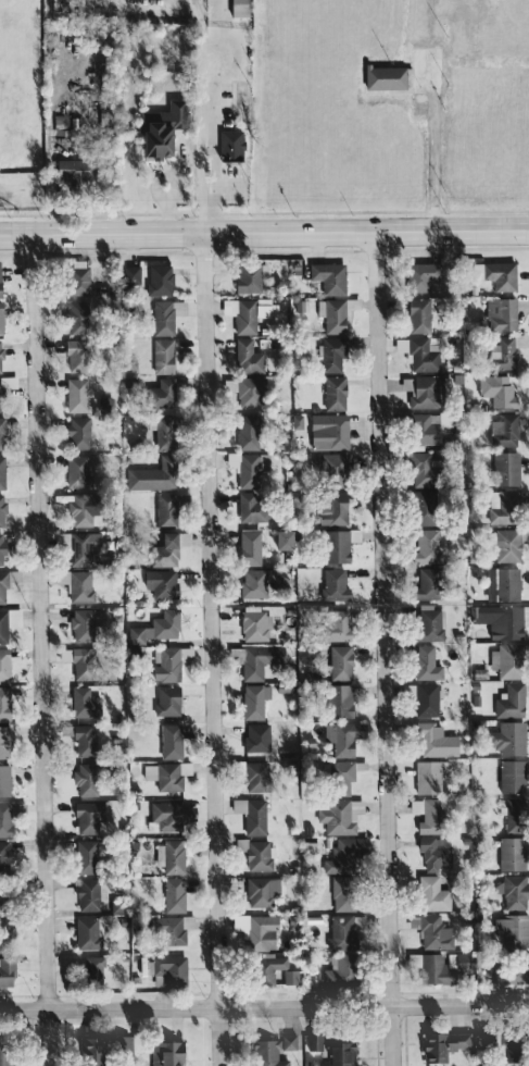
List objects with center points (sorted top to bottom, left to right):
building: (234, 8)
road: (202, 40)
building: (381, 76)
road: (211, 116)
building: (155, 128)
building: (228, 142)
road: (440, 151)
building: (68, 166)
road: (264, 234)
building: (127, 274)
building: (493, 274)
building: (327, 276)
building: (418, 276)
building: (248, 277)
building: (156, 280)
building: (75, 281)
building: (73, 311)
building: (251, 313)
building: (333, 313)
building: (497, 313)
building: (416, 314)
building: (164, 315)
building: (0, 330)
building: (517, 339)
building: (0, 352)
building: (500, 352)
building: (330, 354)
building: (420, 354)
building: (74, 355)
building: (160, 356)
building: (247, 357)
building: (7, 383)
building: (249, 389)
building: (494, 389)
building: (421, 392)
building: (159, 393)
building: (332, 393)
building: (74, 394)
building: (423, 427)
building: (327, 429)
building: (502, 430)
building: (76, 432)
building: (160, 432)
building: (247, 432)
building: (0, 433)
building: (503, 468)
building: (251, 469)
building: (329, 469)
building: (418, 469)
building: (75, 471)
building: (0, 473)
building: (150, 475)
building: (501, 505)
building: (250, 506)
building: (330, 507)
building: (419, 507)
building: (162, 509)
building: (1, 510)
building: (75, 511)
building: (278, 540)
building: (507, 544)
building: (333, 546)
building: (424, 546)
building: (75, 547)
building: (247, 547)
building: (165, 548)
building: (0, 549)
building: (60, 577)
building: (250, 582)
building: (158, 583)
building: (332, 583)
building: (424, 584)
building: (500, 584)
building: (79, 586)
building: (1, 587)
building: (8, 621)
building: (427, 623)
building: (80, 624)
building: (162, 624)
building: (332, 624)
building: (252, 625)
building: (134, 634)
road: (211, 649)
road: (383, 649)
road: (39, 650)
building: (62, 654)
building: (506, 659)
building: (252, 661)
building: (167, 662)
building: (338, 662)
building: (424, 662)
building: (78, 664)
building: (3, 665)
building: (424, 699)
building: (164, 701)
building: (252, 701)
building: (336, 701)
building: (81, 702)
building: (3, 704)
building: (341, 736)
building: (254, 737)
building: (505, 737)
building: (434, 740)
building: (80, 741)
building: (167, 741)
building: (3, 742)
building: (423, 774)
building: (161, 776)
building: (252, 776)
building: (508, 776)
building: (336, 777)
building: (83, 779)
building: (3, 780)
building: (414, 806)
building: (512, 811)
building: (167, 815)
building: (249, 815)
building: (338, 816)
building: (86, 817)
building: (429, 817)
building: (4, 819)
building: (304, 846)
building: (433, 852)
building: (508, 853)
building: (1, 854)
building: (255, 854)
building: (341, 854)
building: (84, 856)
building: (168, 856)
building: (261, 892)
building: (512, 892)
building: (340, 893)
building: (85, 894)
building: (431, 894)
building: (172, 895)
building: (186, 921)
building: (5, 928)
building: (168, 930)
building: (254, 930)
building: (339, 931)
building: (508, 931)
building: (84, 932)
building: (432, 932)
building: (434, 965)
building: (89, 969)
building: (167, 969)
building: (264, 969)
building: (5, 970)
building: (336, 970)
building: (506, 970)
building: (288, 976)
road: (264, 1006)
building: (286, 1042)
building: (312, 1042)
building: (490, 1044)
building: (118, 1045)
building: (439, 1045)
building: (88, 1052)
building: (162, 1053)
building: (264, 1053)
building: (336, 1054)
building: (8, 1055)

